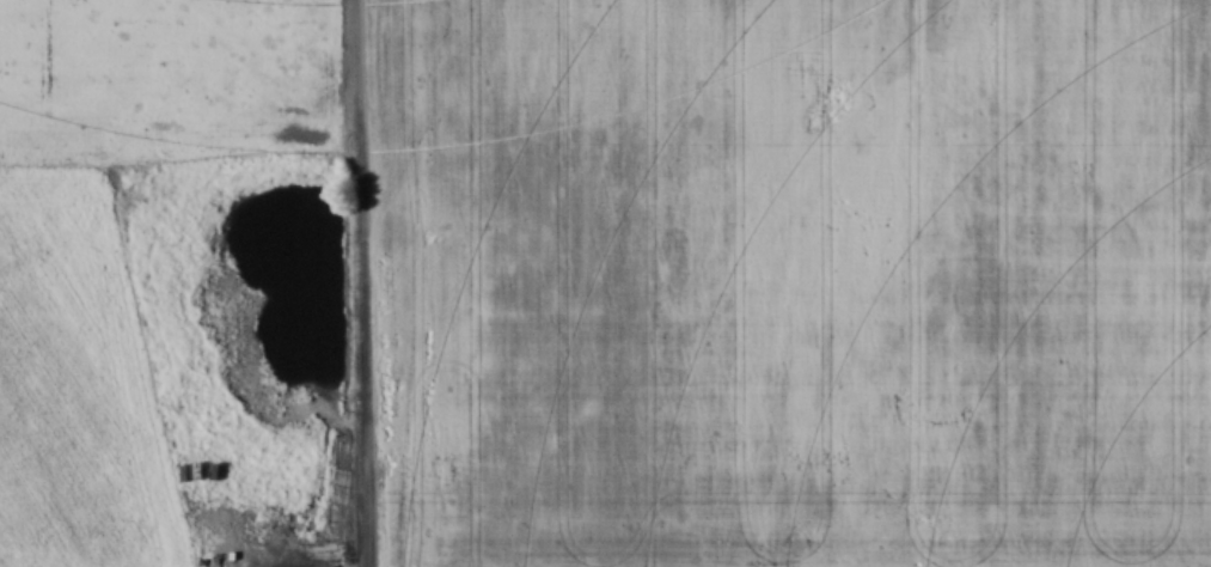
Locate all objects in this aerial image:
building: (179, 403)
building: (341, 453)

